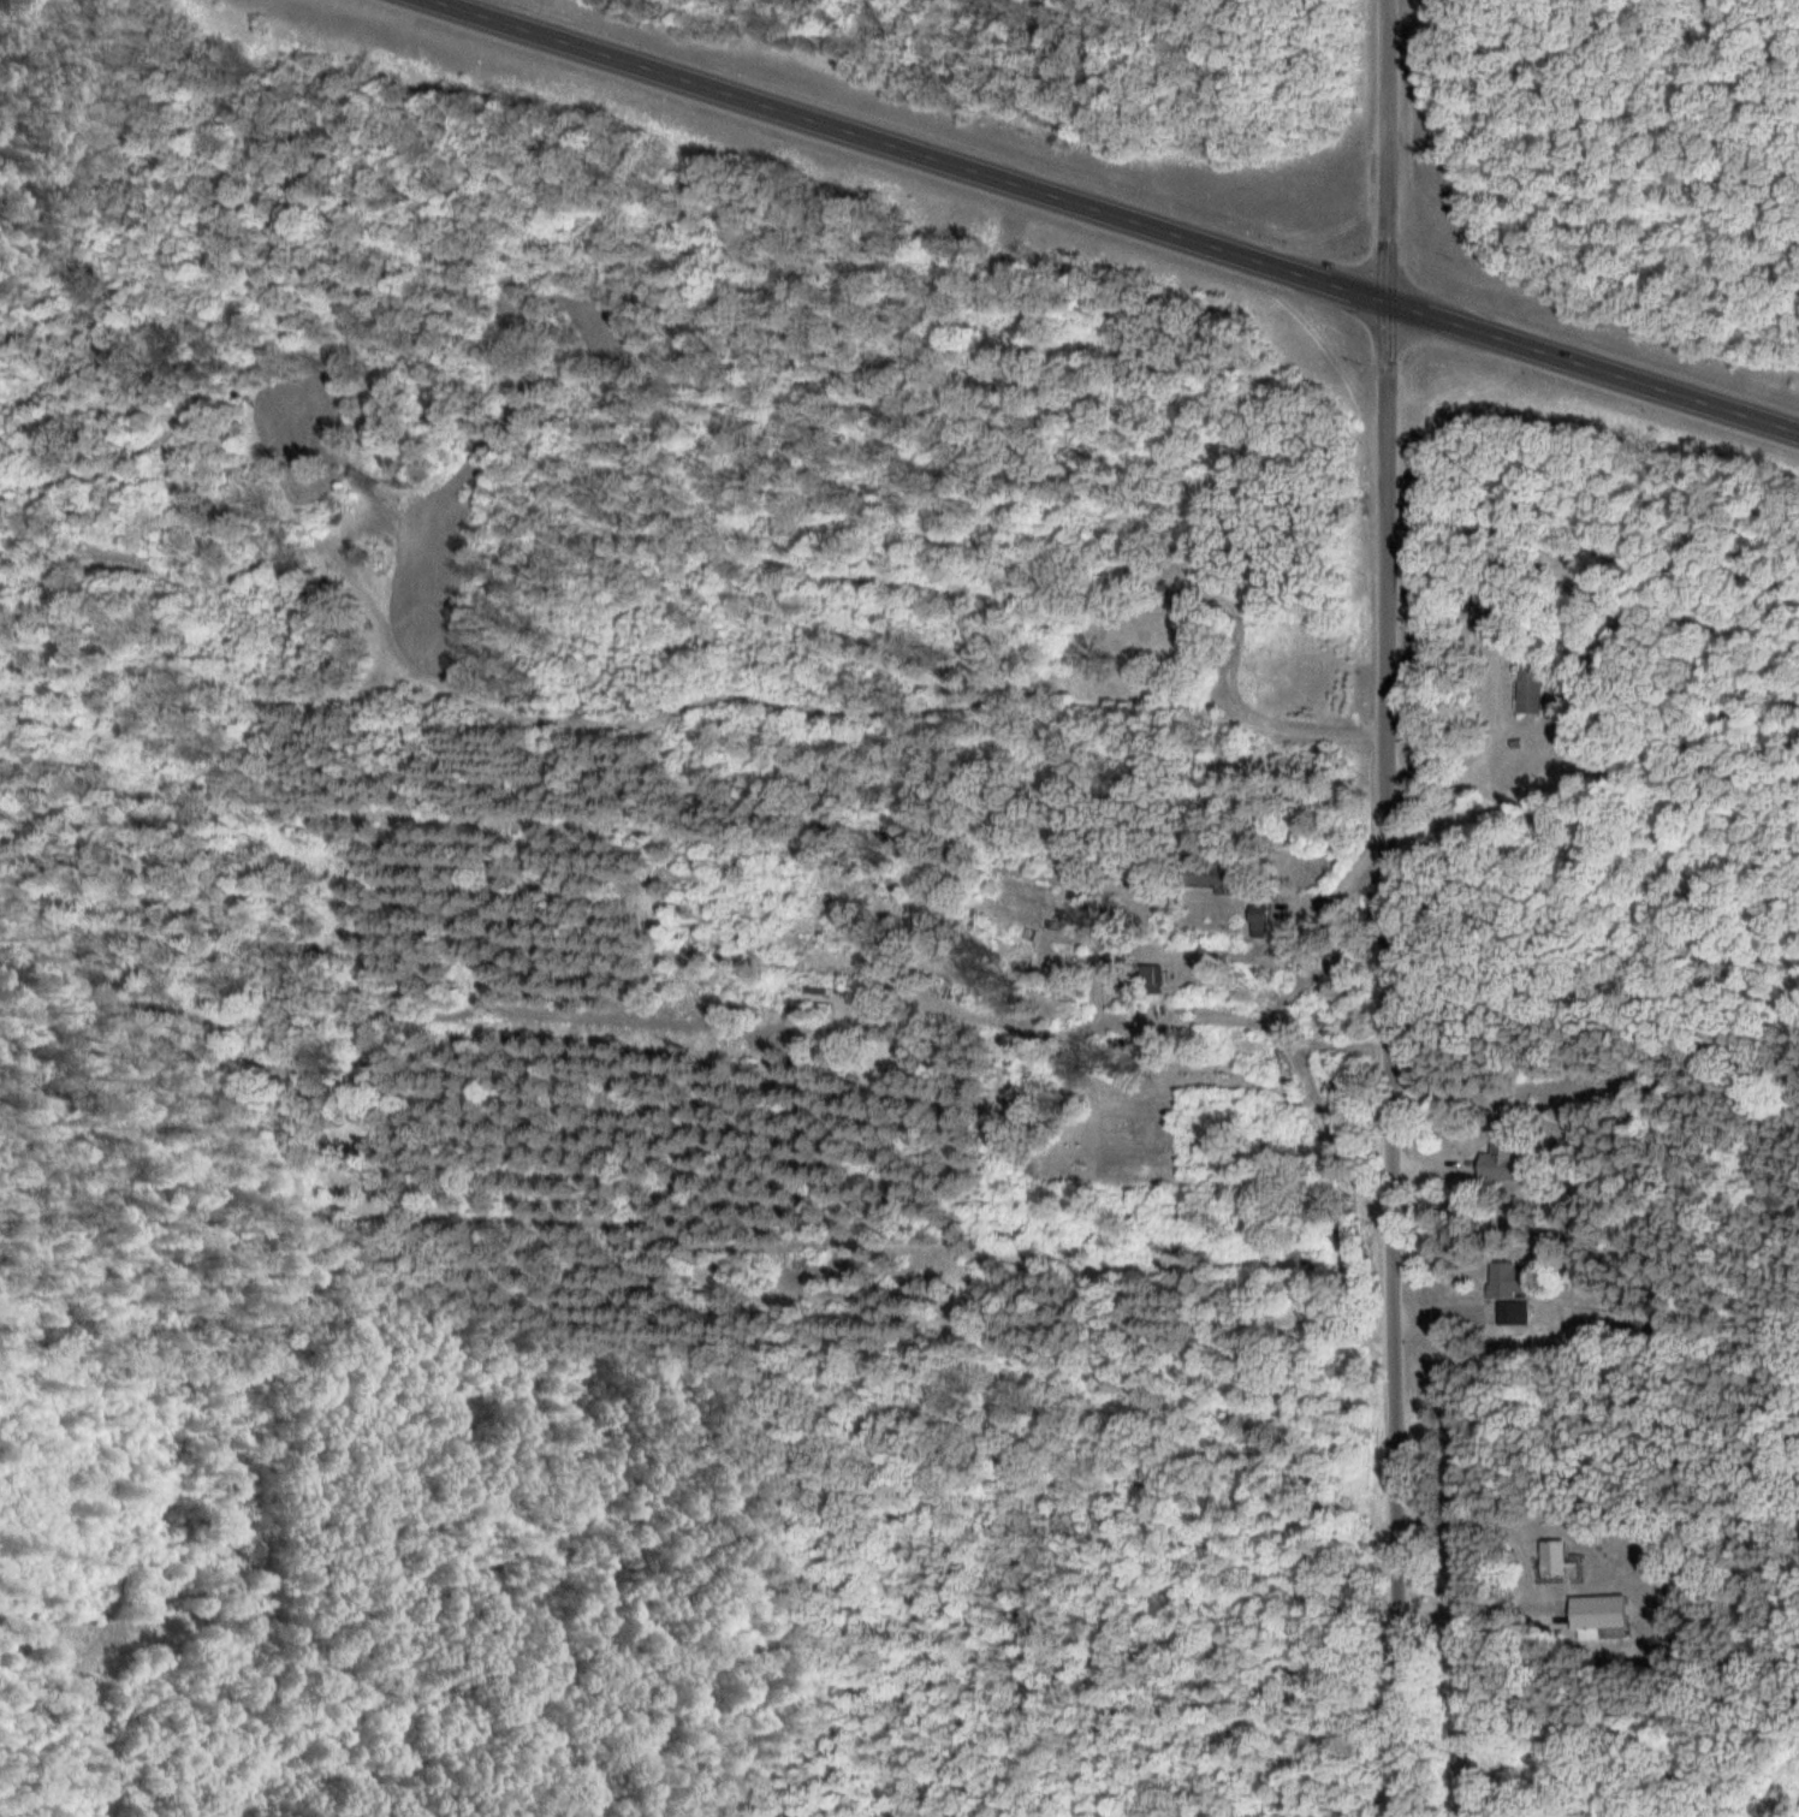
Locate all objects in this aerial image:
road: (1394, 152)
road: (1120, 215)
road: (986, 285)
building: (1485, 616)
building: (1532, 691)
building: (1261, 920)
road: (1399, 1061)
building: (1503, 1158)
building: (1512, 1290)
building: (1555, 1557)
building: (1601, 1616)

